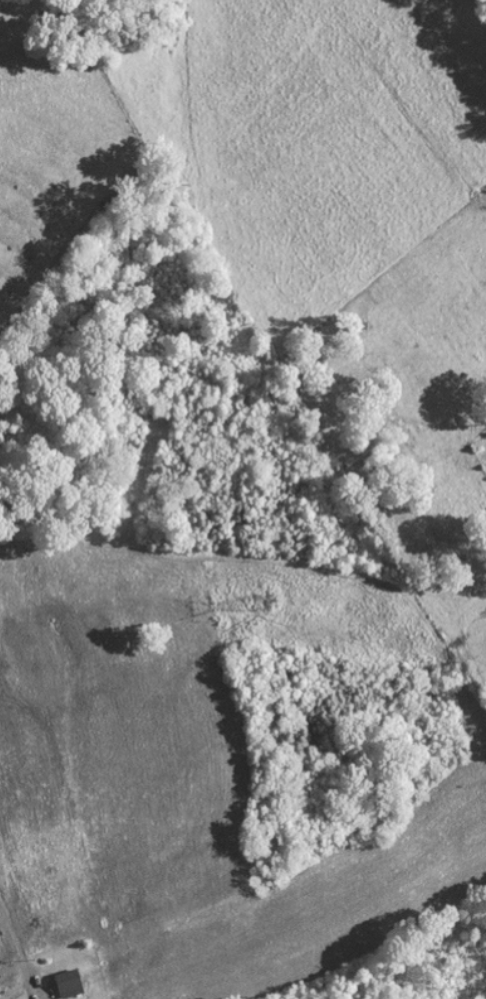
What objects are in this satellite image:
power tower: (264, 603)
building: (71, 983)
building: (0, 992)

